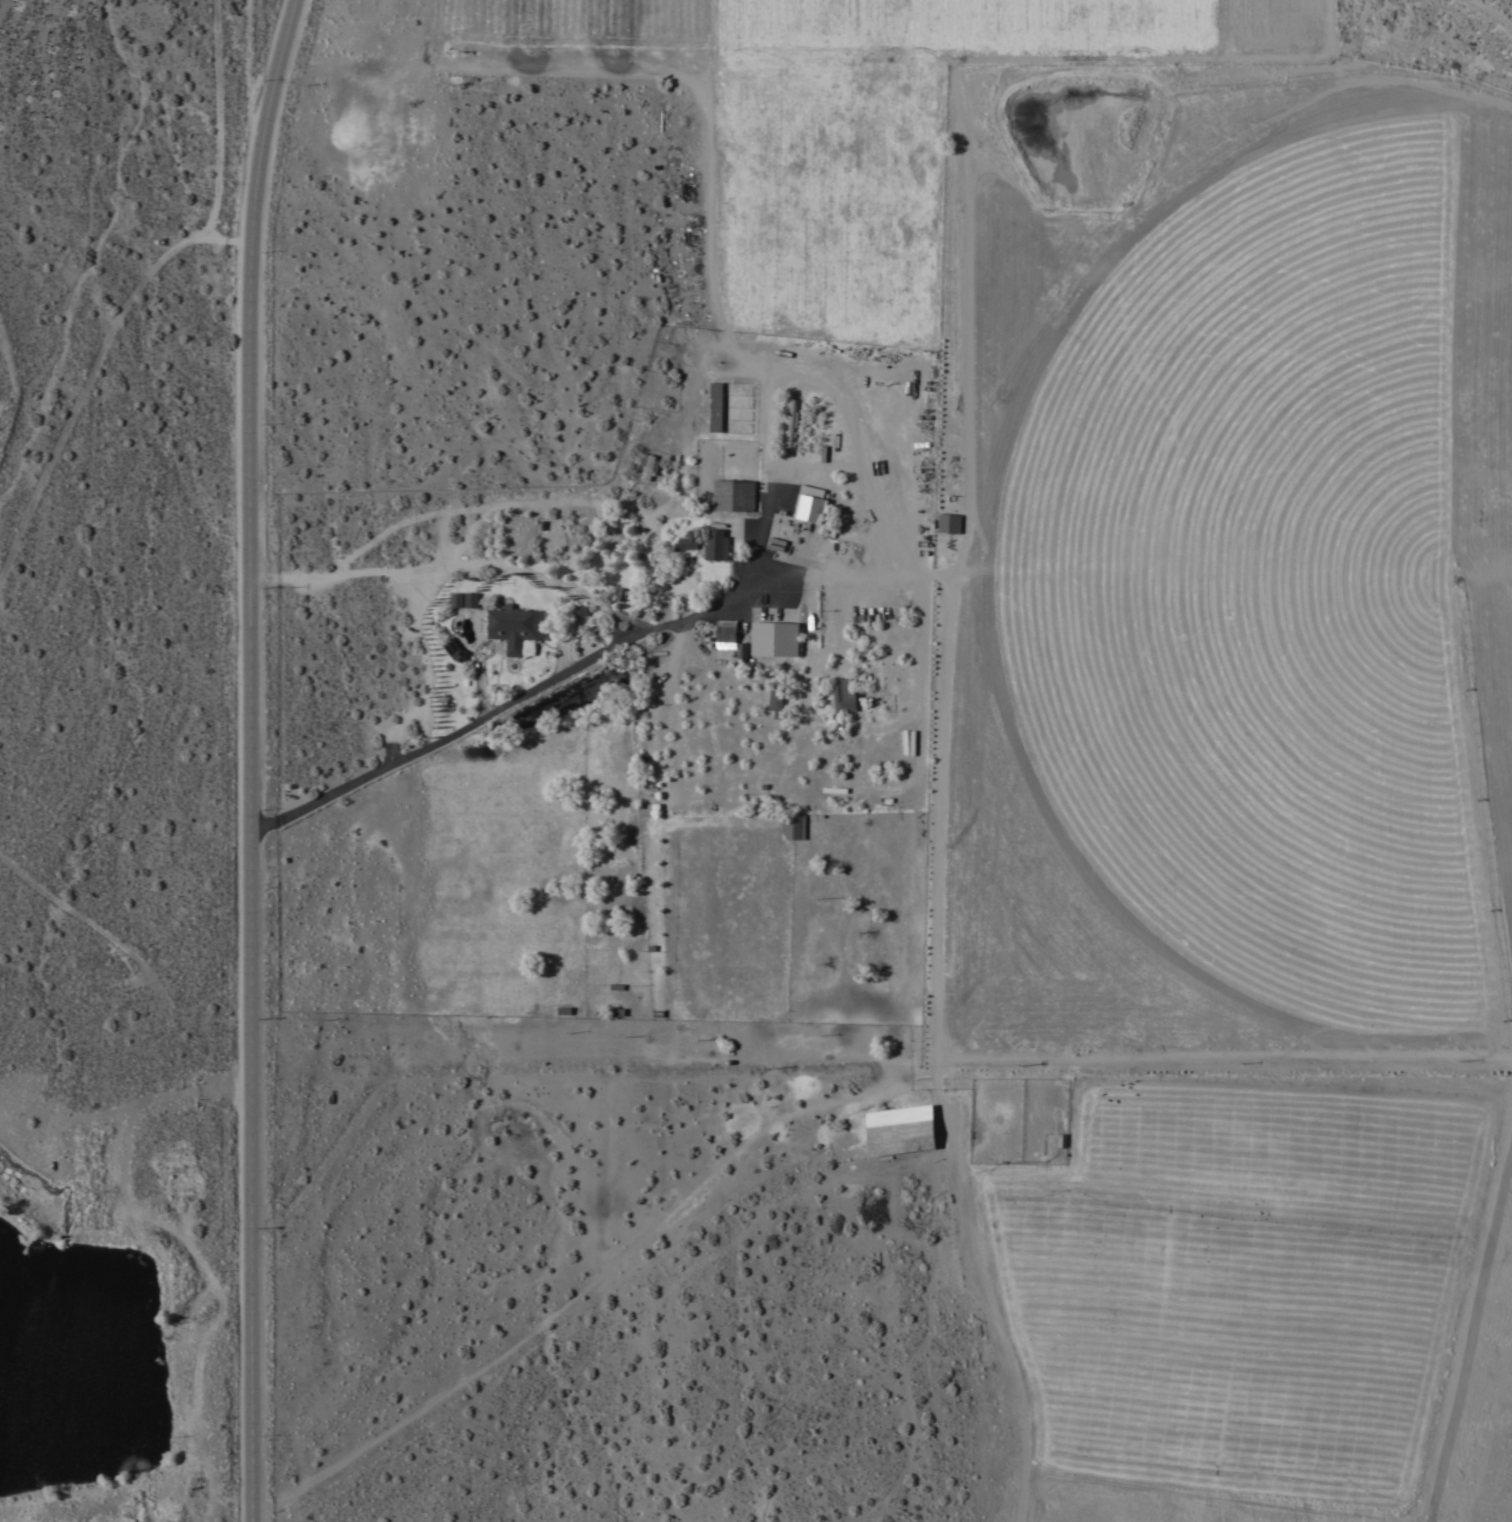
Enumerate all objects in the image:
building: (716, 407)
building: (790, 423)
road: (685, 442)
building: (650, 465)
road: (779, 483)
building: (734, 495)
building: (811, 504)
building: (950, 522)
road: (384, 532)
building: (688, 541)
building: (717, 545)
road: (546, 580)
building: (622, 594)
building: (457, 599)
building: (472, 599)
building: (580, 609)
building: (516, 627)
building: (726, 633)
building: (776, 638)
building: (455, 649)
building: (741, 653)
crop: (1186, 685)
building: (837, 690)
building: (776, 700)
road: (510, 707)
road: (249, 758)
building: (794, 825)
road: (1096, 1098)
building: (900, 1131)
road: (550, 1321)

